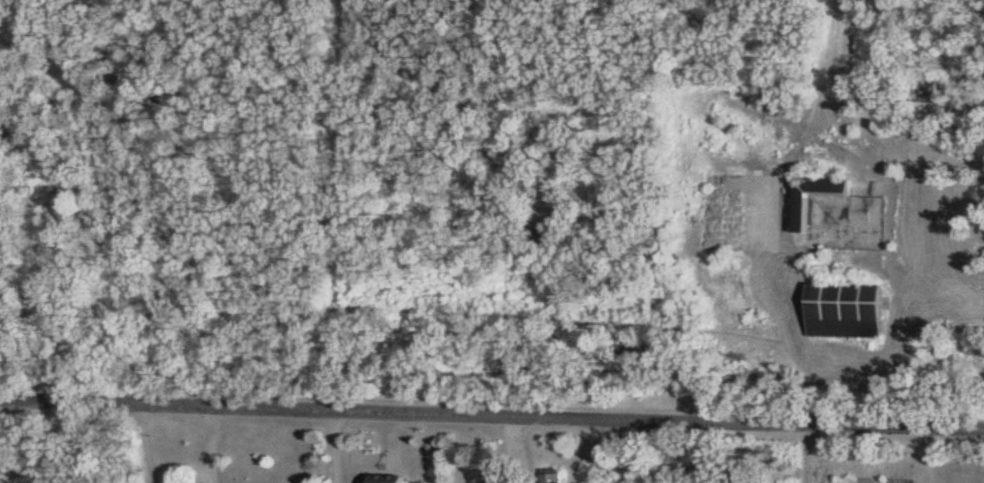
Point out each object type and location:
building: (818, 198)
building: (847, 311)
road: (802, 347)
road: (492, 415)
road: (339, 446)
road: (517, 449)
building: (555, 477)
building: (388, 480)

